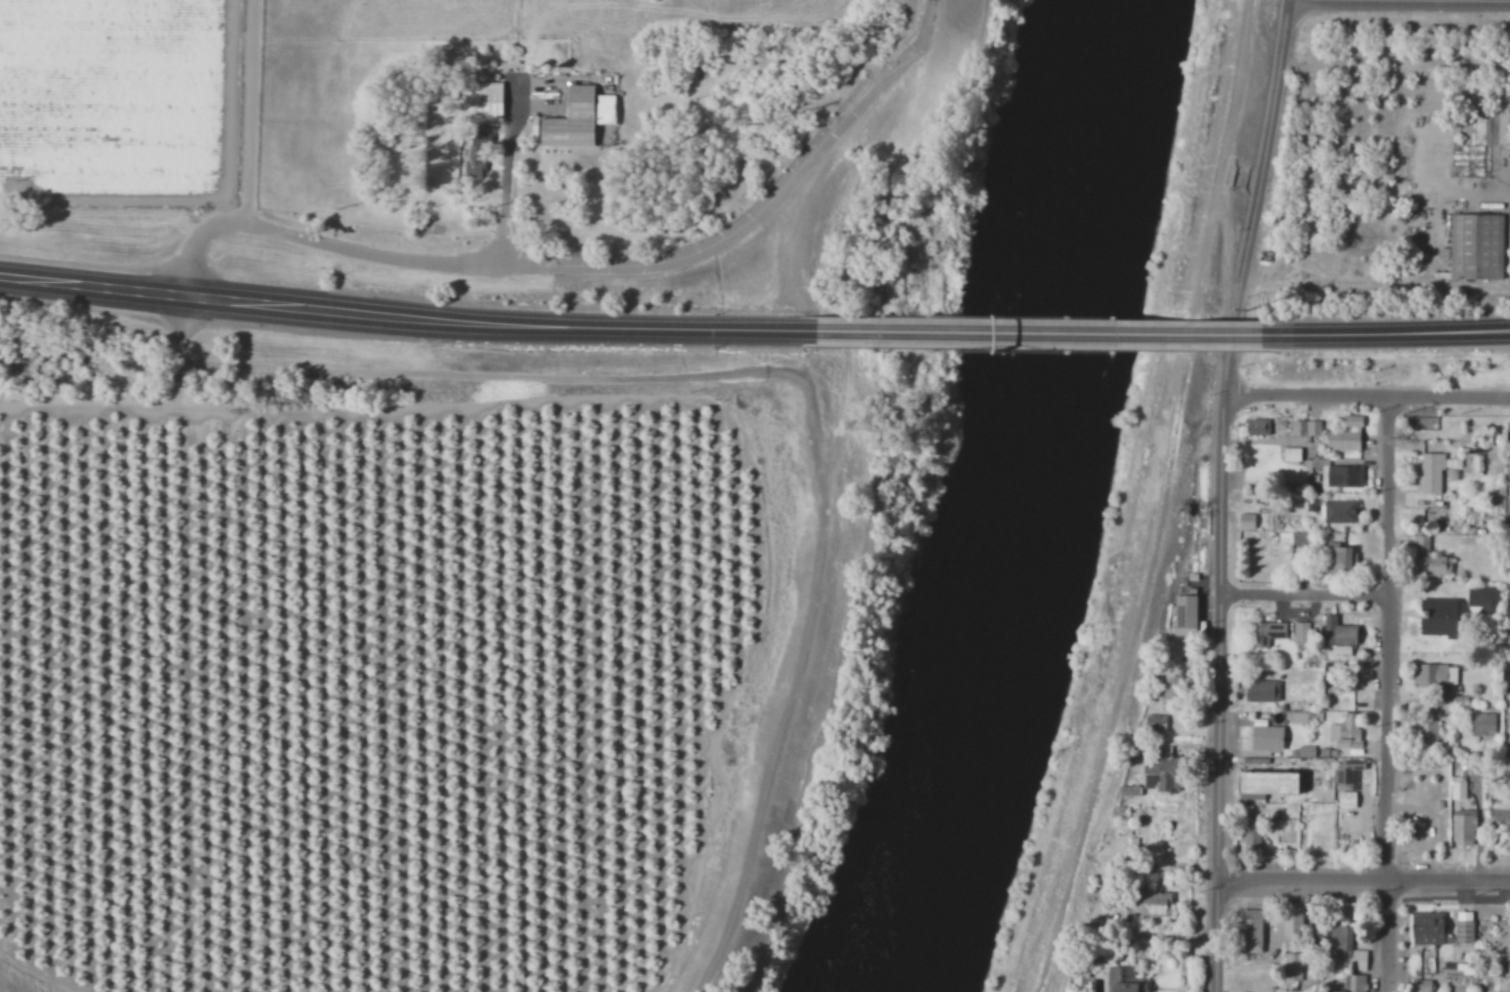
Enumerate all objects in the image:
road: (1403, 1)
building: (484, 100)
road: (252, 109)
building: (603, 109)
building: (569, 118)
road: (1278, 118)
road: (504, 203)
building: (1475, 247)
road: (887, 252)
road: (560, 265)
road: (36, 280)
road: (166, 293)
road: (537, 326)
road: (1038, 333)
road: (1385, 333)
railway: (755, 337)
road: (779, 370)
road: (1371, 393)
road: (115, 403)
building: (1256, 427)
building: (1307, 429)
building: (1507, 433)
building: (1345, 436)
building: (1291, 455)
building: (1477, 465)
building: (1431, 473)
building: (1507, 474)
building: (1344, 476)
river: (1015, 504)
building: (1507, 510)
building: (1340, 512)
building: (1246, 521)
building: (1422, 544)
road: (1229, 557)
building: (1338, 559)
building: (1432, 566)
road: (1306, 597)
building: (1484, 599)
building: (1183, 612)
building: (1437, 620)
building: (1267, 632)
building: (1305, 633)
building: (1437, 678)
building: (1170, 691)
building: (1262, 692)
road: (1387, 692)
building: (1293, 706)
building: (1445, 707)
building: (1298, 718)
building: (1156, 723)
building: (1483, 725)
building: (1344, 731)
building: (1429, 732)
building: (1266, 738)
building: (1306, 751)
building: (1347, 783)
building: (1263, 784)
building: (1458, 788)
building: (1139, 794)
building: (1500, 819)
building: (1463, 828)
road: (1366, 881)
building: (1151, 904)
building: (1291, 917)
building: (1463, 930)
building: (1426, 932)
building: (1247, 934)
road: (1222, 935)
building: (1340, 940)
building: (1358, 959)
building: (1292, 966)
building: (1122, 980)
building: (1355, 982)

